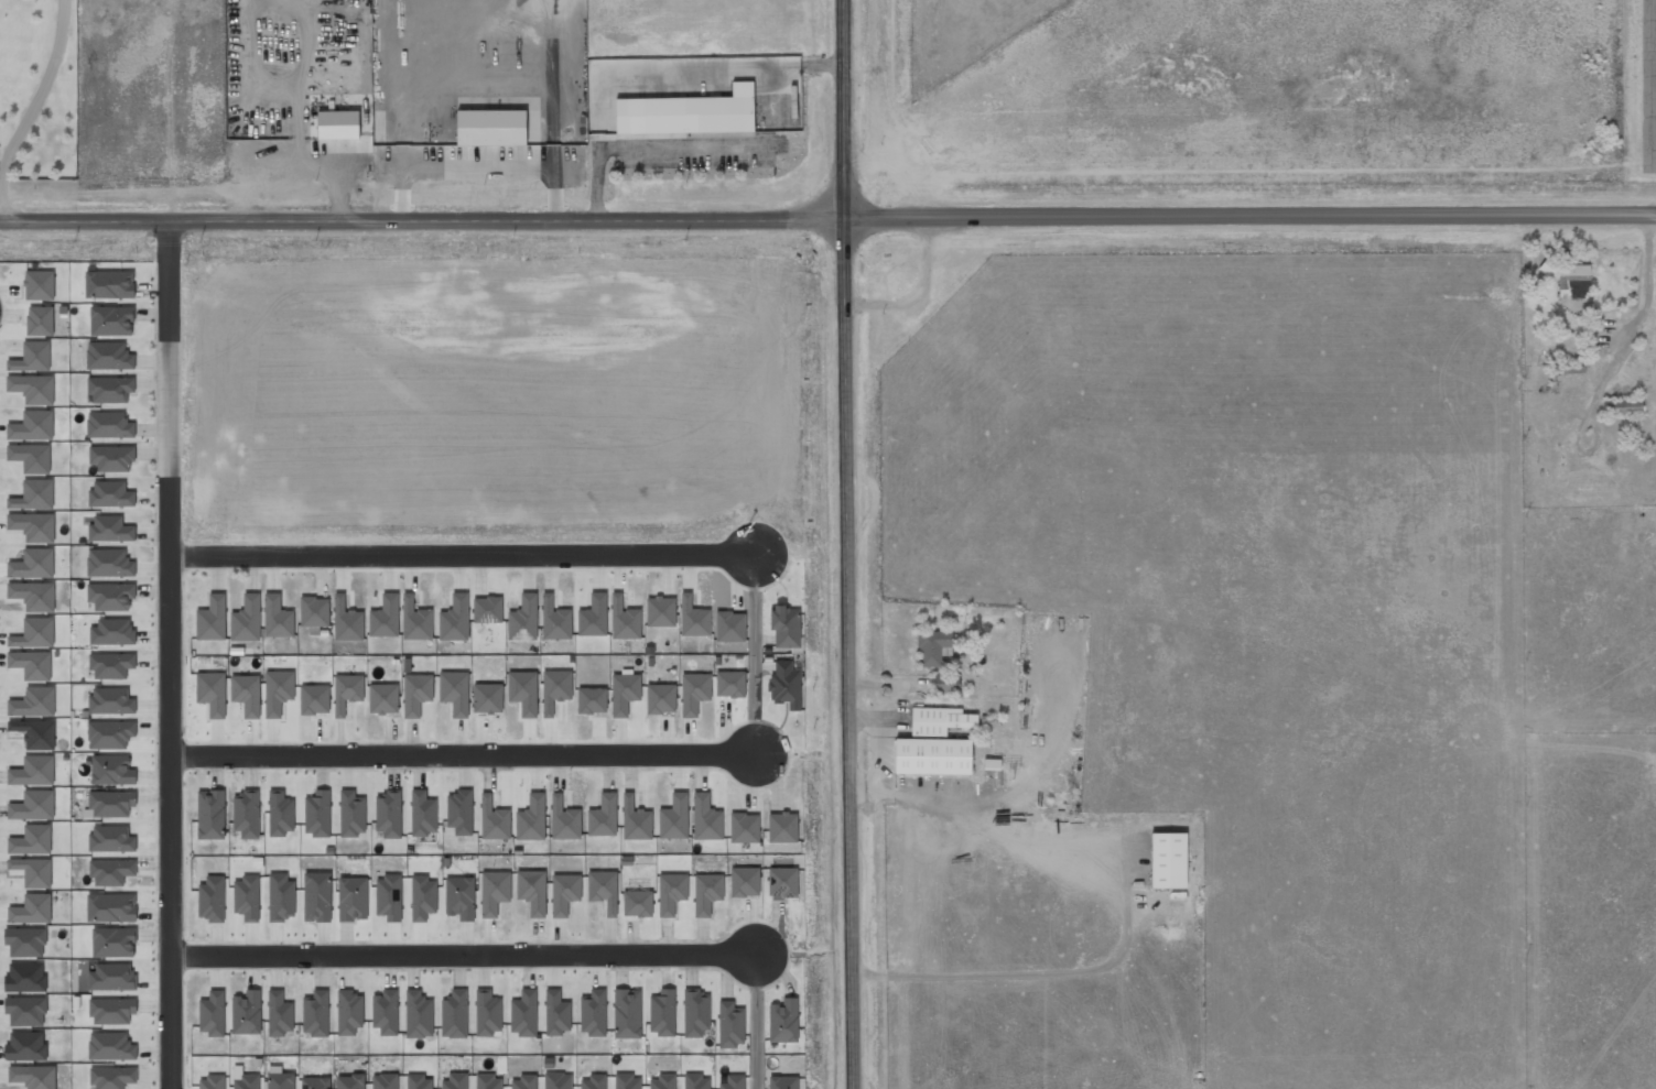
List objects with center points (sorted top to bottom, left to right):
building: (245, 21)
airport taxiway: (1650, 77)
airport: (1265, 92)
road: (845, 109)
building: (689, 112)
building: (338, 124)
building: (490, 127)
road: (827, 219)
building: (1569, 279)
building: (109, 284)
building: (39, 285)
building: (40, 320)
building: (111, 320)
building: (108, 356)
building: (32, 357)
building: (1569, 372)
building: (32, 388)
building: (110, 389)
building: (1622, 406)
building: (109, 425)
building: (31, 426)
building: (30, 457)
building: (111, 457)
building: (110, 493)
building: (33, 494)
building: (32, 526)
building: (110, 529)
road: (459, 553)
building: (109, 563)
building: (32, 564)
building: (33, 595)
building: (110, 596)
building: (487, 609)
building: (314, 611)
building: (660, 611)
building: (277, 617)
building: (385, 617)
building: (593, 617)
building: (523, 618)
building: (693, 618)
building: (212, 619)
building: (246, 619)
building: (455, 619)
building: (554, 619)
building: (415, 620)
building: (624, 620)
building: (346, 621)
building: (729, 627)
building: (786, 627)
building: (111, 631)
building: (34, 633)
building: (932, 646)
road: (753, 652)
road: (851, 653)
road: (166, 655)
building: (31, 664)
building: (111, 665)
building: (946, 683)
building: (729, 684)
building: (784, 684)
building: (555, 689)
building: (278, 691)
building: (454, 691)
building: (523, 691)
building: (212, 693)
building: (347, 693)
building: (416, 693)
building: (624, 693)
building: (693, 693)
building: (246, 694)
building: (382, 698)
building: (487, 698)
building: (660, 698)
building: (314, 699)
building: (110, 700)
building: (592, 700)
building: (33, 703)
building: (939, 720)
building: (35, 733)
building: (109, 734)
road: (461, 754)
building: (932, 755)
building: (111, 770)
building: (33, 771)
building: (110, 803)
building: (33, 806)
building: (459, 812)
building: (389, 813)
building: (422, 813)
building: (246, 814)
building: (280, 814)
building: (317, 814)
building: (351, 814)
building: (210, 815)
building: (603, 816)
building: (531, 818)
building: (673, 818)
building: (705, 818)
building: (494, 819)
building: (564, 819)
building: (635, 820)
building: (782, 827)
building: (744, 828)
building: (110, 839)
building: (31, 840)
building: (1168, 860)
road: (1255, 869)
building: (32, 871)
building: (111, 871)
building: (744, 882)
building: (782, 882)
building: (603, 890)
building: (532, 891)
building: (494, 892)
building: (564, 893)
building: (671, 893)
building: (706, 893)
building: (281, 896)
building: (316, 896)
building: (246, 897)
building: (388, 897)
building: (422, 897)
building: (459, 897)
building: (210, 899)
building: (351, 899)
building: (637, 903)
building: (110, 907)
building: (31, 910)
building: (112, 941)
road: (462, 954)
building: (24, 977)
building: (111, 977)
building: (25, 1009)
building: (111, 1011)
building: (246, 1012)
building: (348, 1012)
building: (385, 1012)
building: (487, 1012)
building: (212, 1013)
building: (315, 1013)
building: (523, 1013)
building: (556, 1013)
building: (593, 1013)
building: (626, 1013)
building: (662, 1013)
building: (695, 1013)
building: (279, 1014)
building: (418, 1014)
building: (454, 1014)
road: (757, 1020)
building: (783, 1021)
building: (730, 1024)
building: (25, 1046)
building: (110, 1046)
building: (33, 1076)
building: (112, 1077)
building: (280, 1080)
building: (558, 1080)
building: (210, 1081)
building: (246, 1081)
building: (350, 1081)
building: (383, 1081)
building: (419, 1081)
building: (455, 1081)
building: (488, 1081)
building: (594, 1081)
building: (627, 1081)
building: (662, 1081)
building: (696, 1081)
building: (314, 1082)
building: (523, 1082)
building: (733, 1082)
building: (783, 1082)

